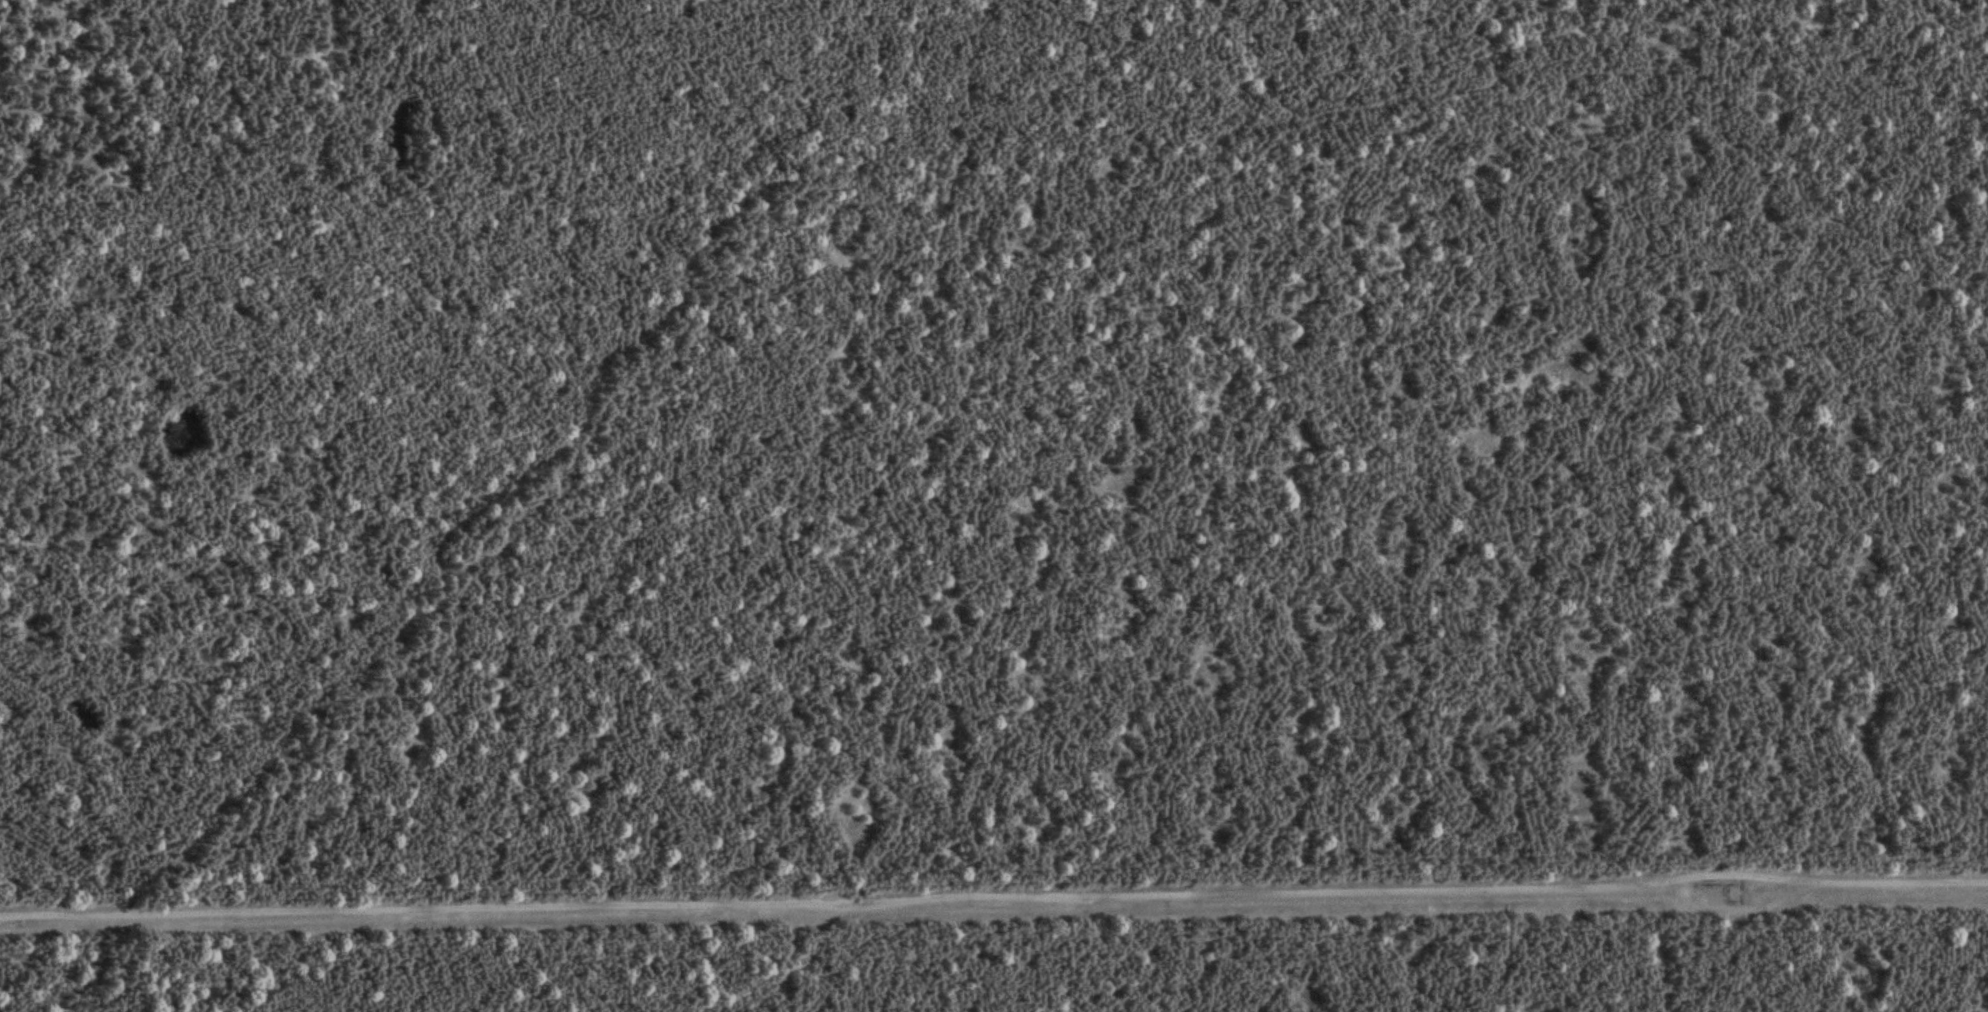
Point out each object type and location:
road: (994, 905)

